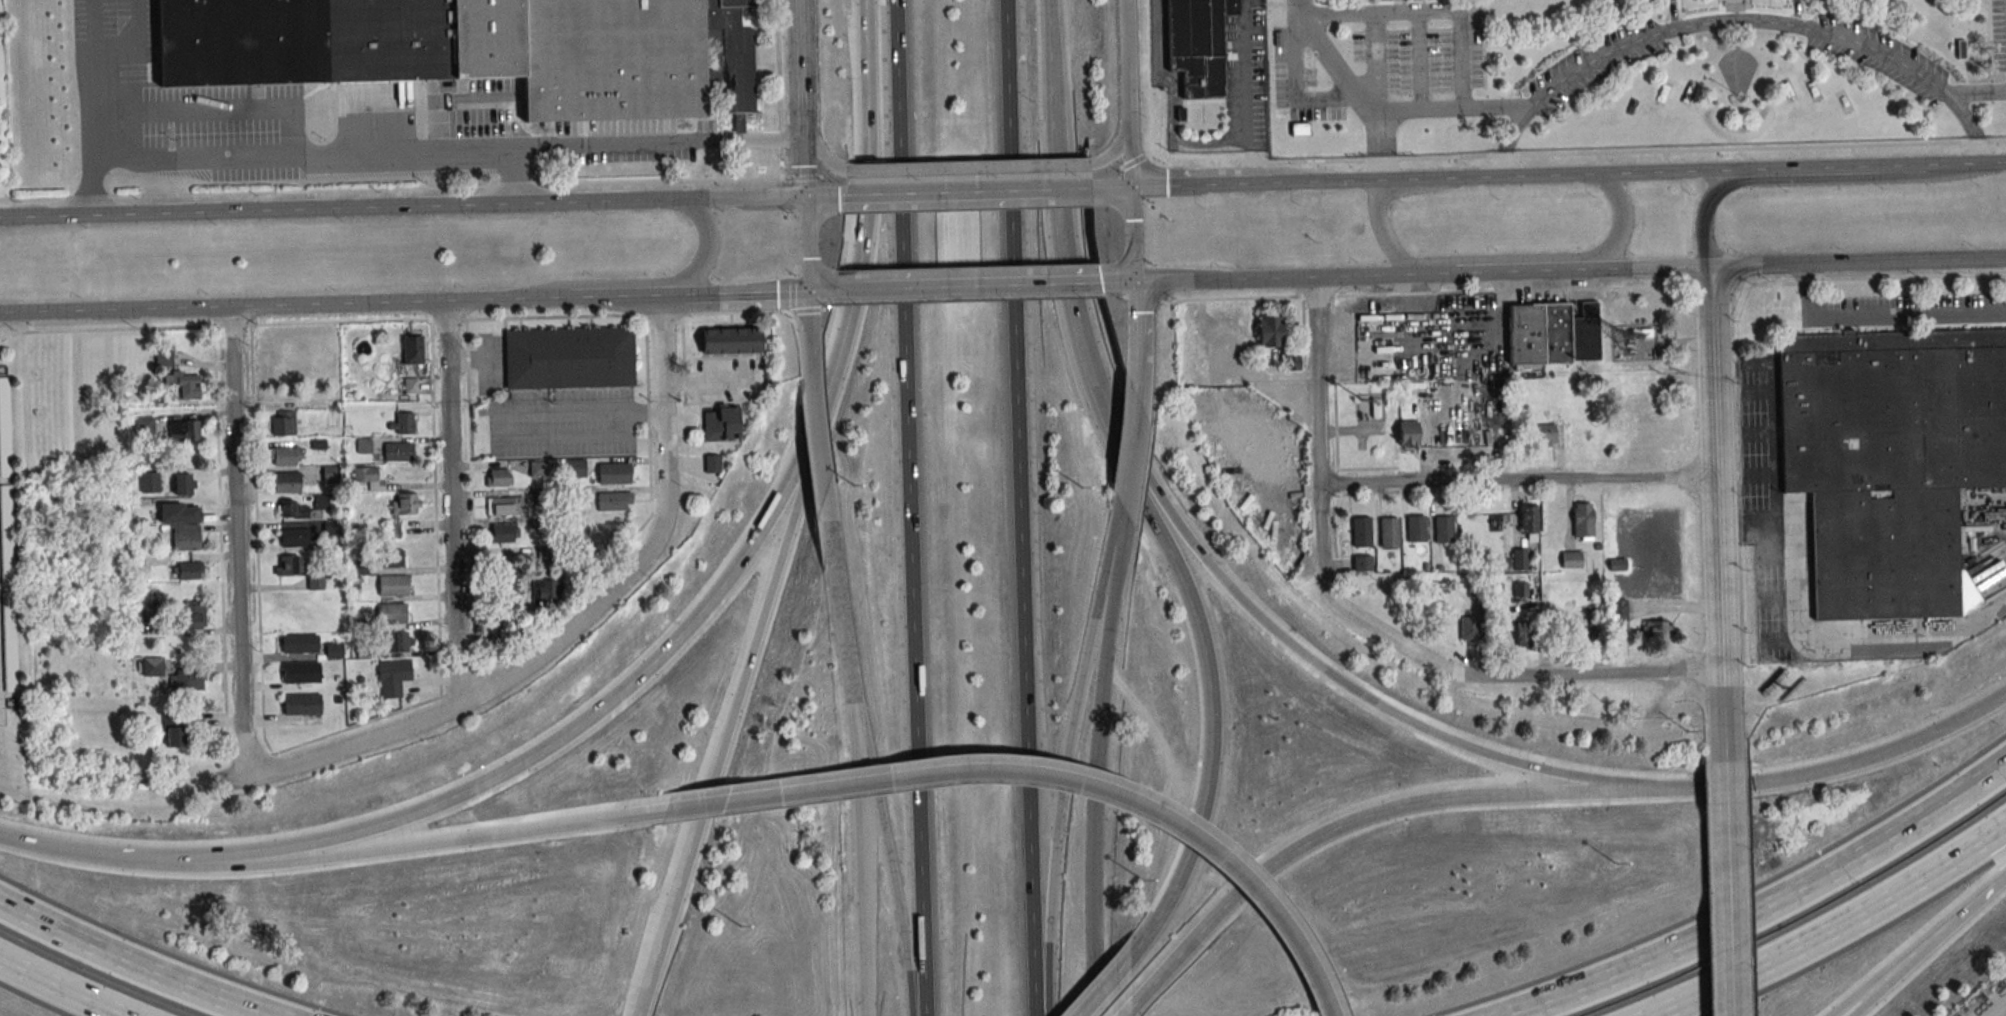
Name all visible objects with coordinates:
road: (1360, 13)
road: (1736, 21)
parking lot: (1999, 35)
road: (804, 37)
parking lot: (1421, 47)
building: (480, 49)
building: (1202, 50)
road: (1128, 61)
road: (1331, 61)
road: (1419, 61)
road: (1376, 62)
parking lot: (1300, 84)
road: (1248, 91)
road: (1976, 93)
road: (92, 107)
road: (1456, 109)
building: (1298, 129)
road: (806, 135)
road: (656, 142)
road: (1380, 146)
road: (1116, 149)
road: (1132, 154)
road: (1576, 154)
road: (325, 157)
road: (823, 158)
road: (1993, 162)
road: (1953, 163)
road: (1778, 168)
road: (967, 169)
road: (1565, 174)
road: (1440, 177)
road: (1808, 179)
road: (1327, 181)
road: (1203, 184)
traffic signals: (1133, 186)
road: (480, 187)
road: (1112, 187)
road: (1073, 188)
road: (946, 192)
road: (1058, 192)
road: (824, 196)
road: (759, 197)
traffic signals: (809, 197)
road: (1379, 200)
road: (354, 207)
road: (1134, 234)
road: (866, 237)
road: (810, 244)
road: (1558, 257)
road: (1859, 262)
road: (1584, 269)
road: (1431, 273)
road: (1363, 275)
road: (1227, 279)
road: (652, 281)
road: (1119, 282)
traffic signals: (1136, 282)
road: (981, 286)
road: (846, 289)
road: (822, 290)
traffic signals: (811, 291)
road: (1492, 291)
road: (766, 292)
road: (705, 294)
road: (676, 295)
road: (554, 300)
road: (338, 304)
road: (116, 309)
road: (1884, 316)
road: (1139, 321)
road: (812, 326)
building: (1270, 331)
building: (1641, 333)
building: (1553, 334)
building: (731, 340)
road: (484, 347)
building: (412, 349)
building: (164, 357)
road: (481, 357)
building: (571, 359)
building: (1292, 362)
road: (710, 380)
road: (1139, 380)
road: (1319, 380)
building: (185, 383)
building: (416, 386)
road: (664, 400)
building: (1376, 408)
road: (508, 415)
building: (283, 422)
building: (400, 423)
building: (721, 423)
building: (145, 425)
building: (5, 427)
building: (183, 431)
building: (1409, 434)
building: (1546, 434)
building: (398, 451)
road: (1133, 455)
building: (287, 456)
building: (1890, 462)
building: (712, 463)
building: (576, 468)
building: (538, 469)
road: (824, 470)
building: (332, 473)
building: (614, 473)
building: (370, 477)
building: (498, 477)
road: (1519, 479)
building: (149, 481)
building: (287, 481)
building: (184, 484)
building: (614, 501)
building: (405, 504)
road: (451, 504)
building: (504, 505)
road: (908, 508)
road: (1022, 508)
building: (296, 510)
building: (177, 513)
road: (1718, 513)
building: (1529, 519)
building: (1584, 520)
building: (1417, 530)
building: (1444, 530)
building: (503, 532)
building: (1362, 532)
building: (1390, 533)
building: (7, 534)
building: (294, 535)
building: (186, 537)
road: (1754, 537)
road: (237, 542)
building: (391, 558)
building: (1520, 560)
building: (1571, 560)
building: (1363, 564)
building: (288, 565)
building: (1617, 565)
building: (359, 567)
building: (188, 570)
road: (1797, 572)
building: (316, 582)
building: (393, 585)
building: (1520, 589)
building: (1476, 590)
building: (394, 613)
building: (191, 614)
building: (1619, 614)
road: (584, 620)
building: (1657, 628)
building: (1468, 629)
building: (1524, 634)
building: (10, 642)
building: (398, 642)
building: (299, 643)
road: (1394, 645)
building: (333, 650)
road: (1208, 654)
road: (751, 655)
building: (150, 666)
road: (1322, 667)
building: (301, 672)
road: (1652, 673)
building: (393, 677)
building: (186, 680)
building: (299, 704)
building: (174, 729)
road: (554, 742)
road: (366, 743)
road: (1096, 762)
road: (1843, 765)
road: (1087, 786)
road: (863, 796)
road: (703, 804)
road: (1061, 804)
road: (1407, 804)
road: (432, 843)
road: (99, 854)
road: (895, 882)
road: (1730, 888)
road: (1973, 904)
road: (1763, 908)
road: (663, 929)
road: (1833, 930)
road: (135, 962)
road: (1886, 974)
road: (1898, 975)
road: (1110, 977)
road: (1154, 977)
road: (63, 988)

